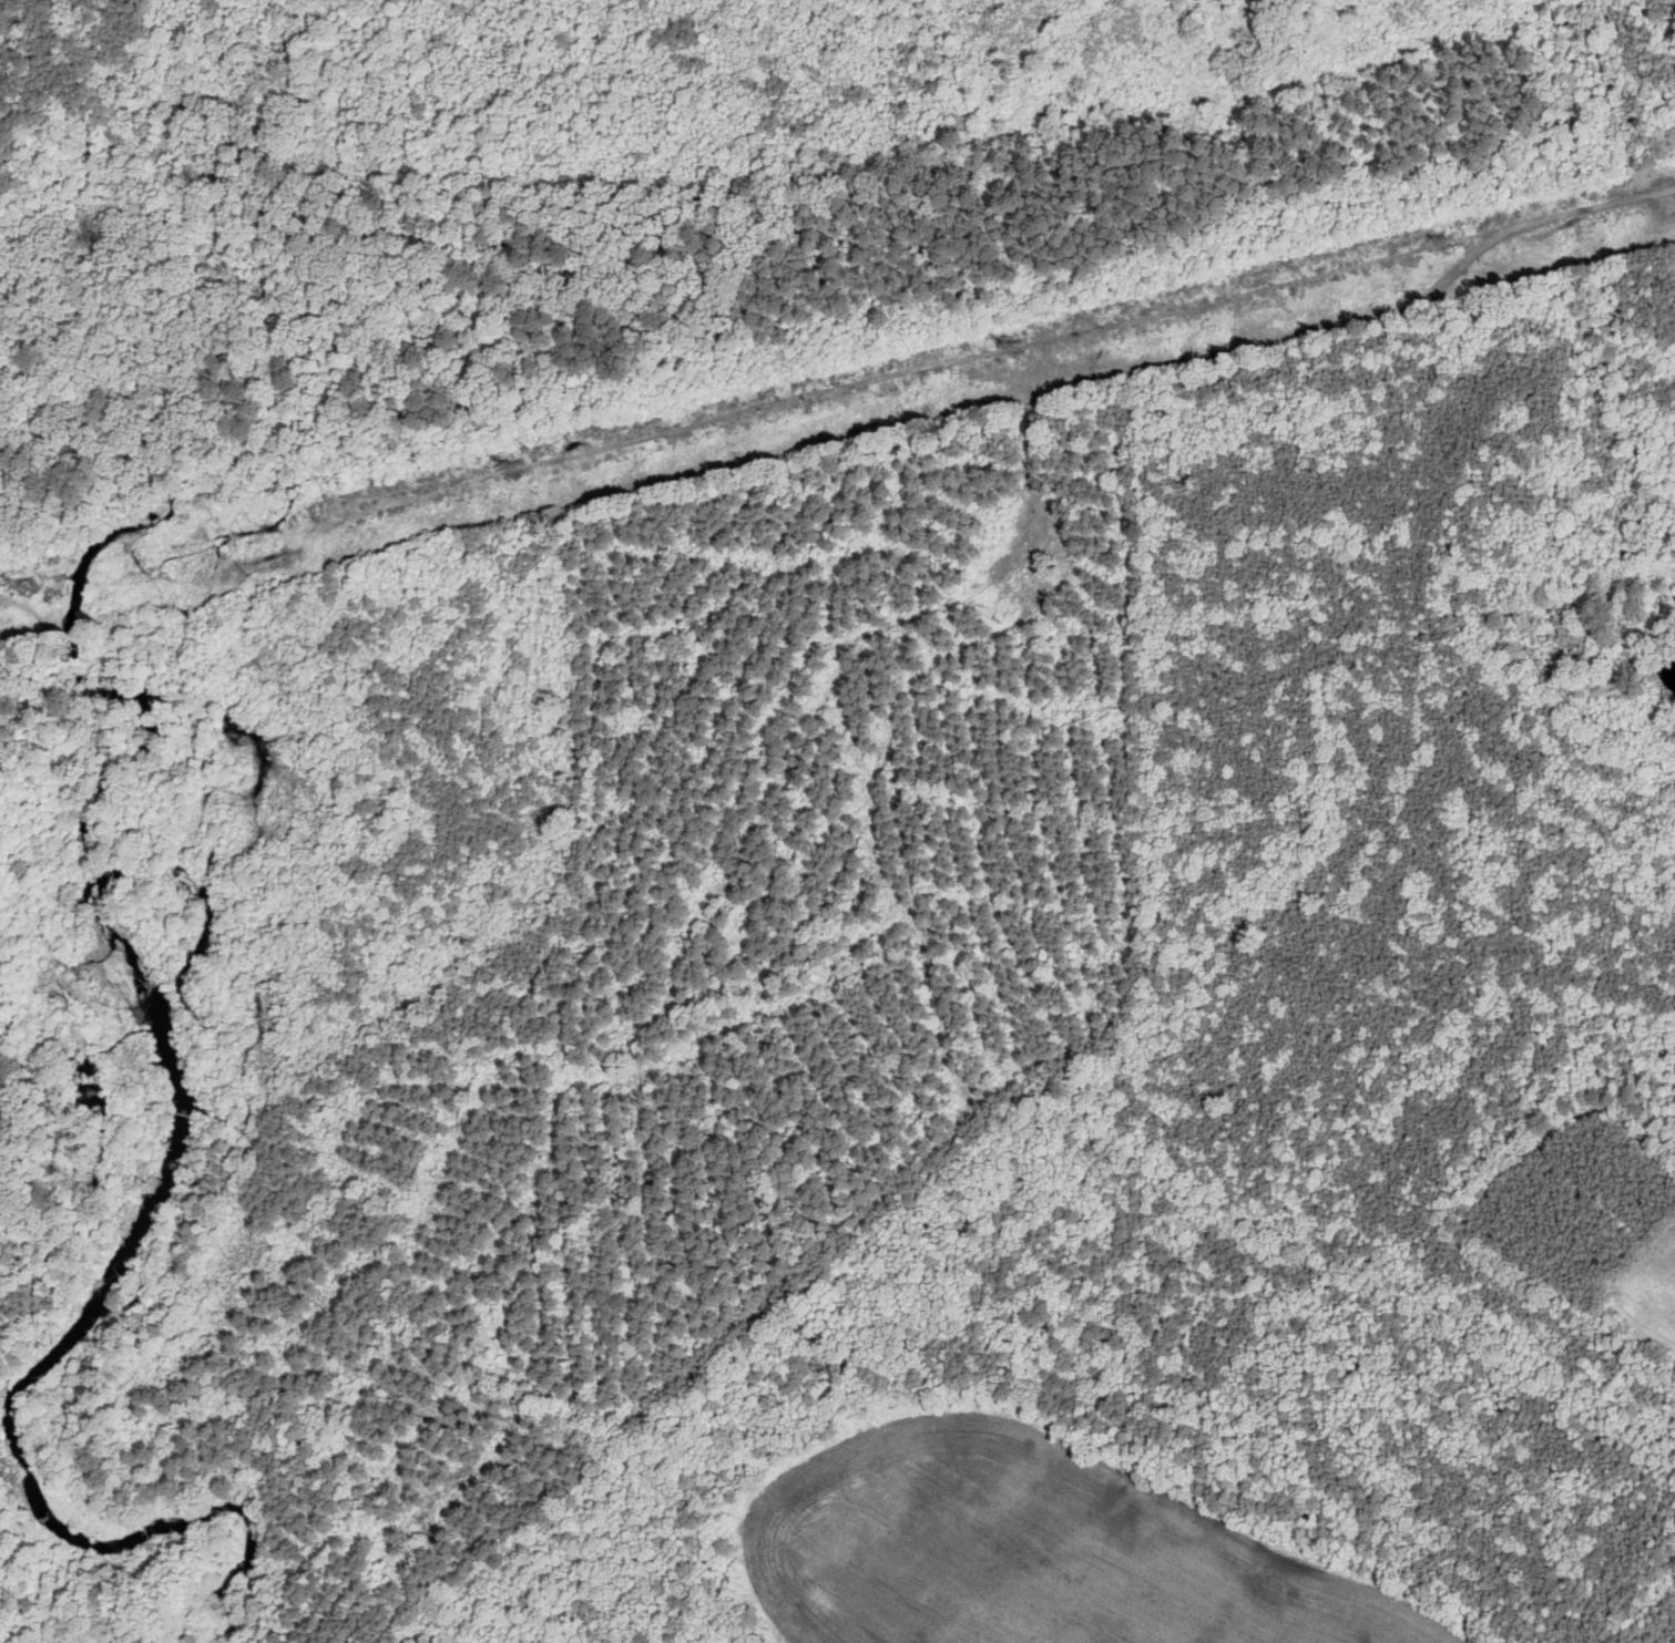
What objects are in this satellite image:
power tower: (1448, 244)
power tower: (1019, 349)
power tower: (519, 469)
power tower: (39, 587)

